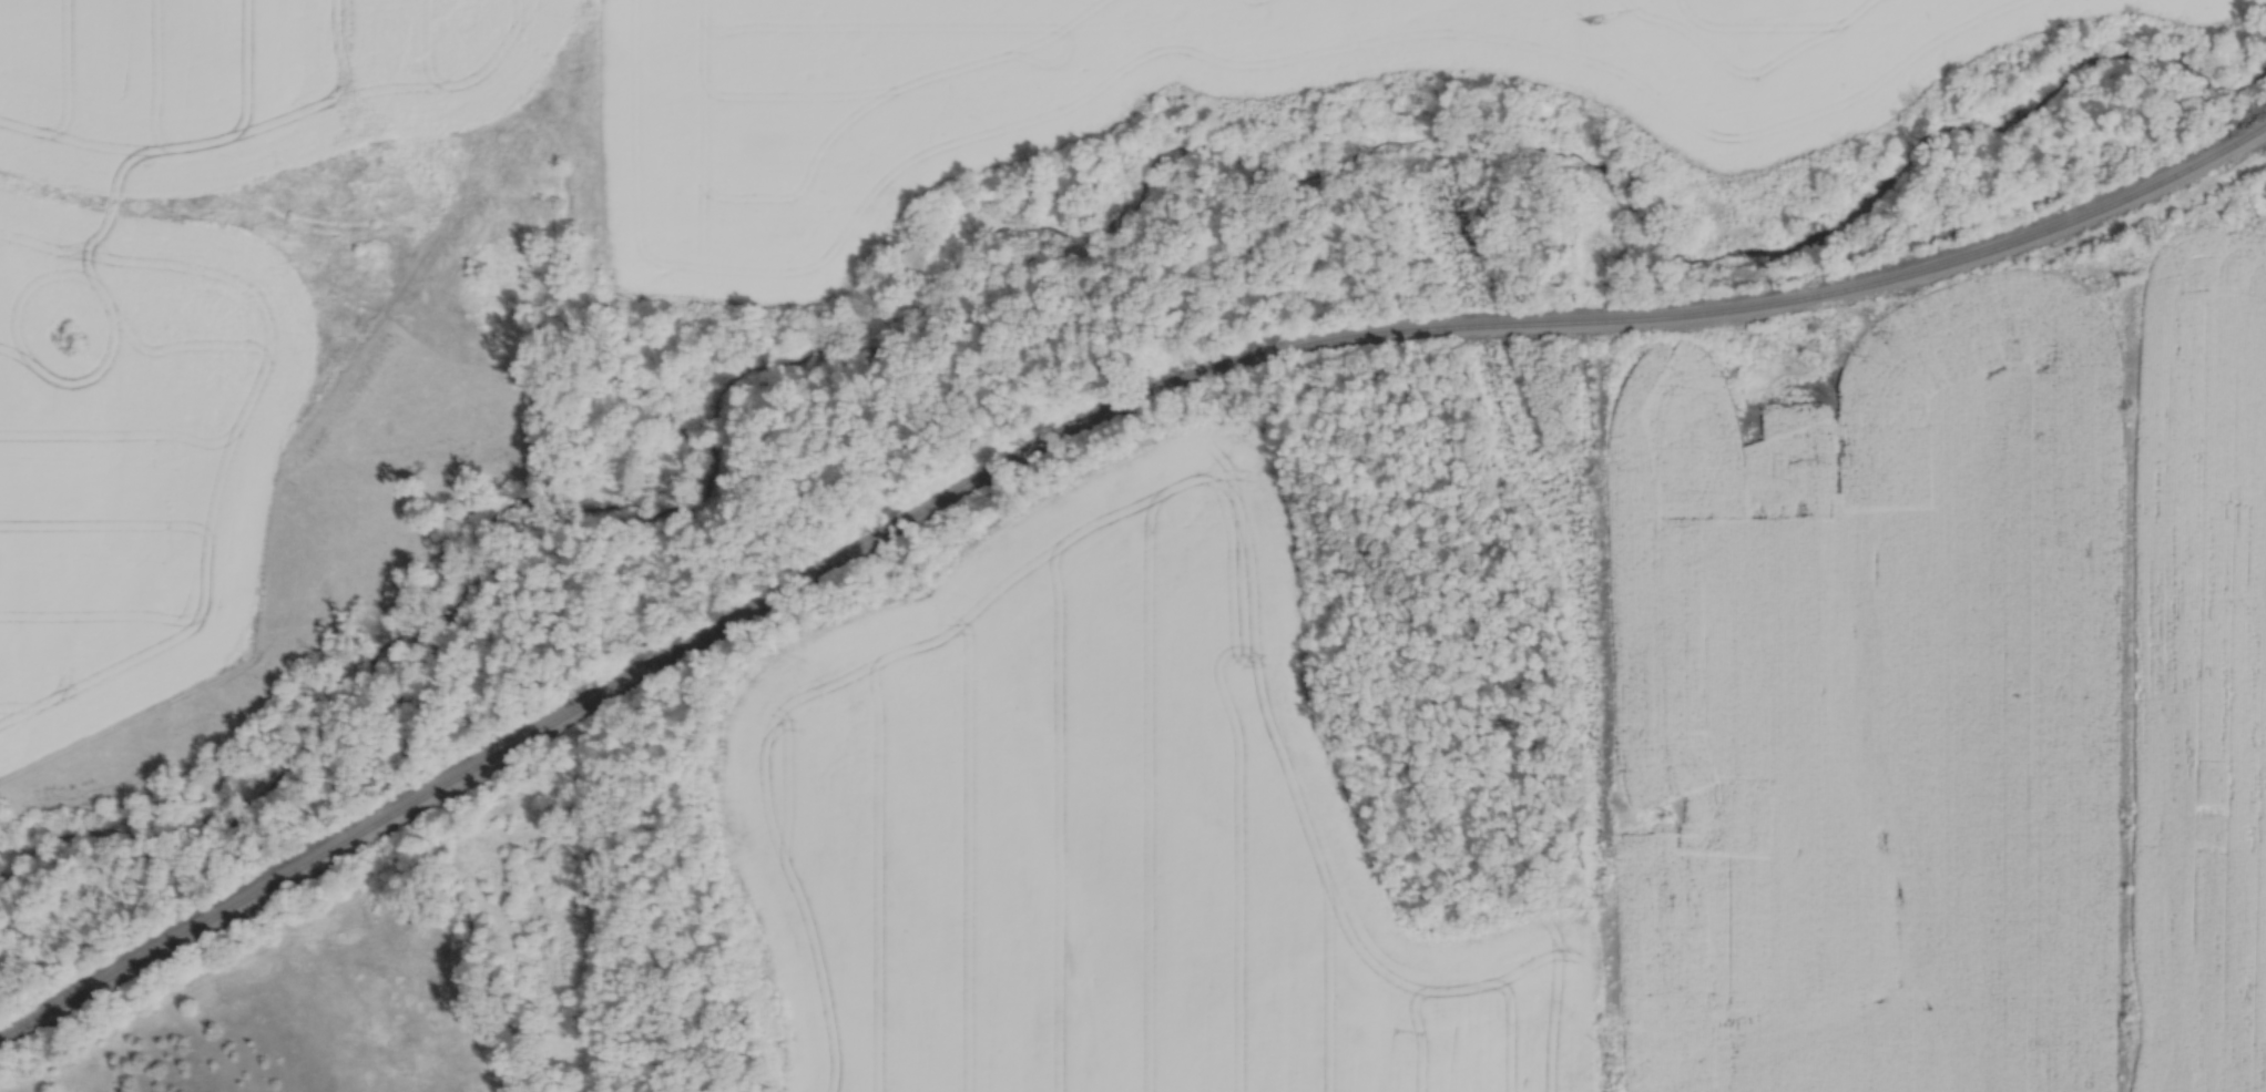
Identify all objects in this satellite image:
power tower: (1507, 369)
railway: (1075, 420)
power tower: (1668, 816)

